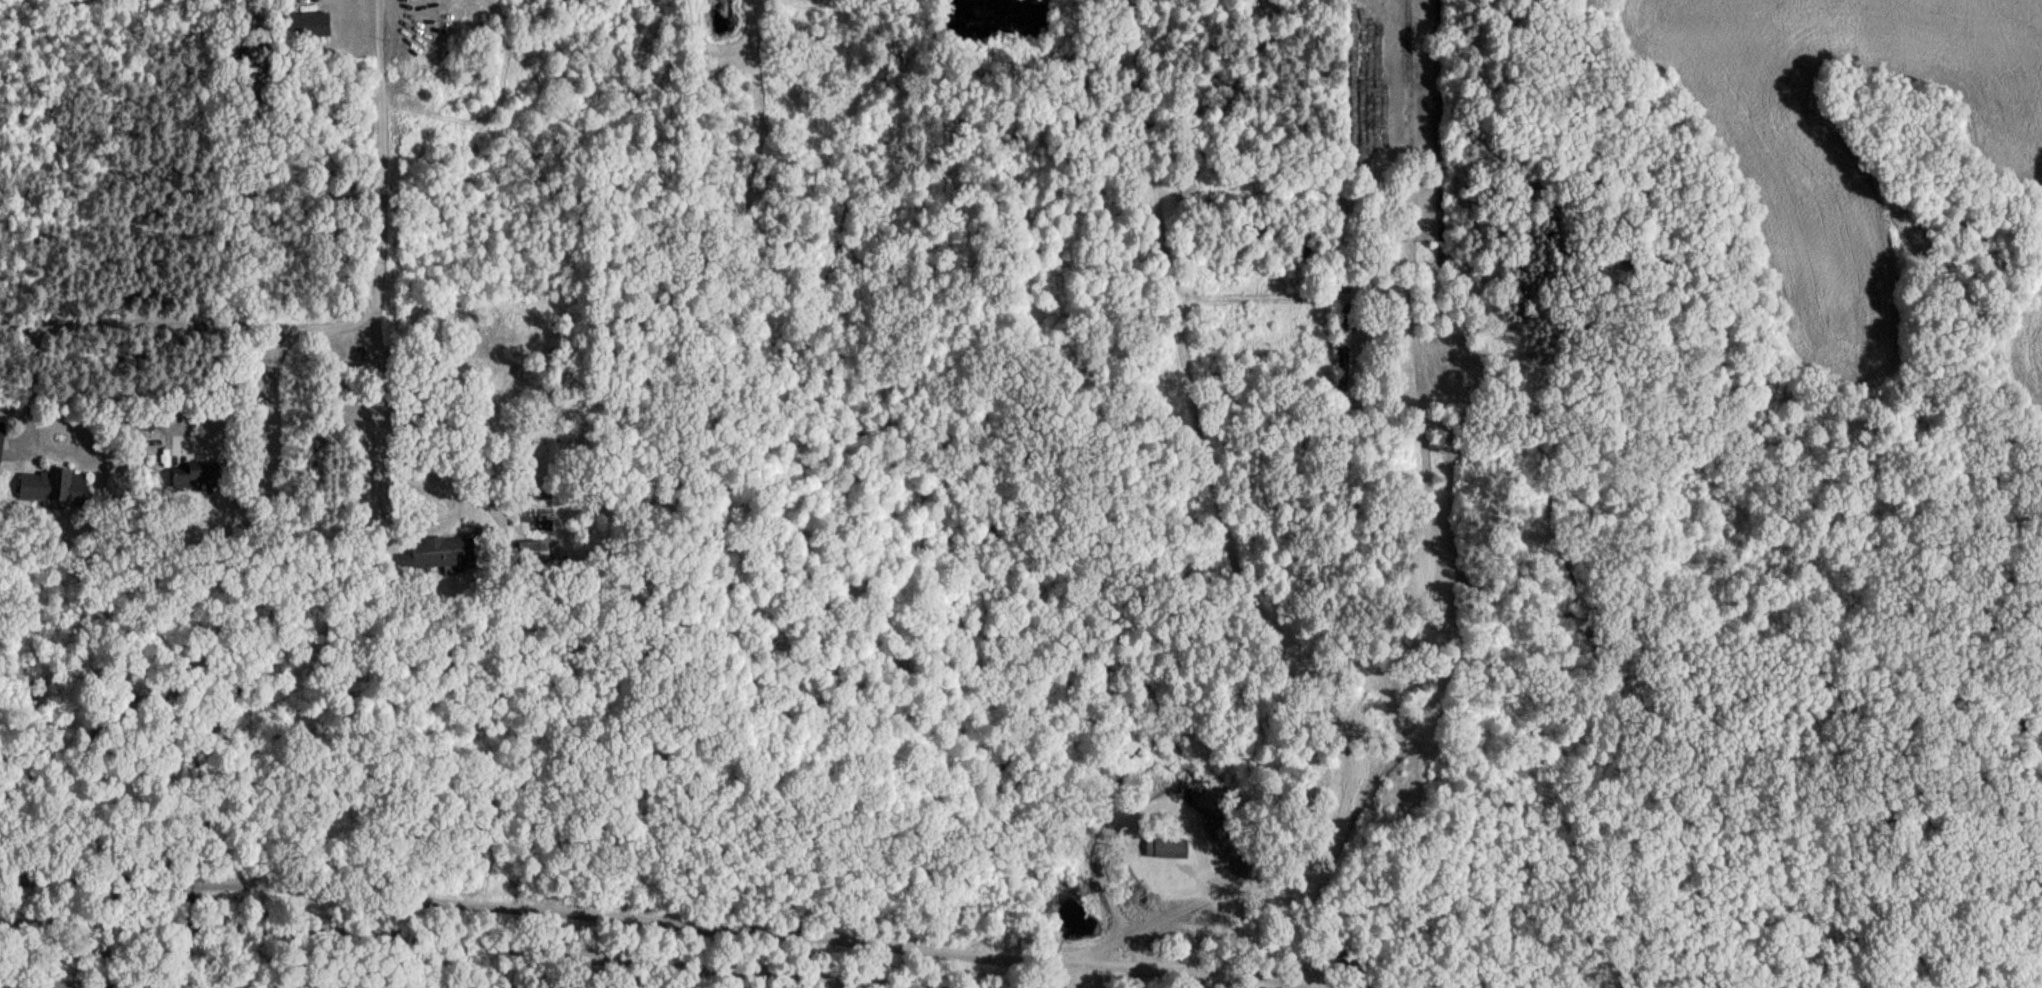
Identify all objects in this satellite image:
building: (305, 29)
road: (380, 264)
road: (190, 326)
road: (31, 379)
road: (260, 395)
building: (1, 437)
building: (193, 480)
building: (50, 491)
road: (486, 511)
building: (531, 556)
building: (443, 557)
road: (1253, 607)
building: (1164, 846)
road: (682, 929)
road: (395, 950)

